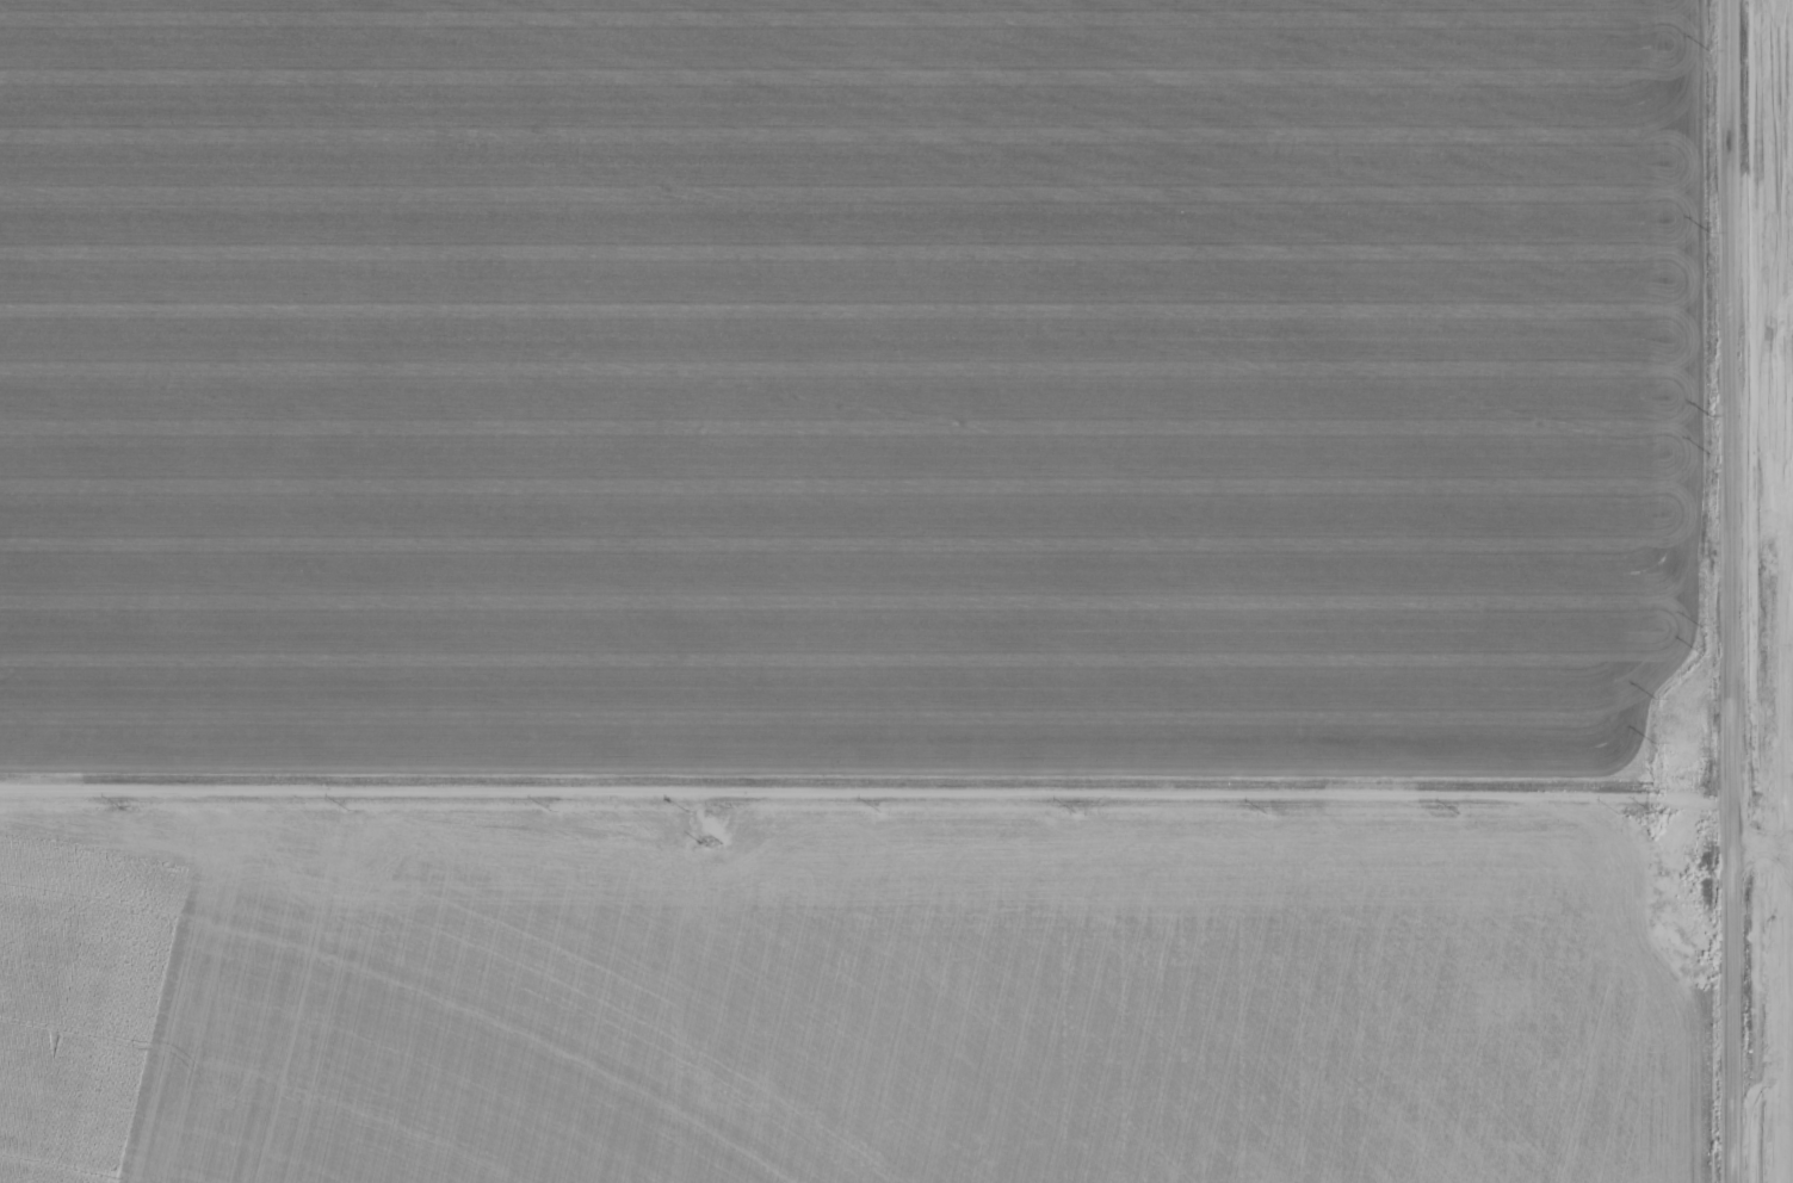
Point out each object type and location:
road: (1730, 591)
road: (865, 820)

